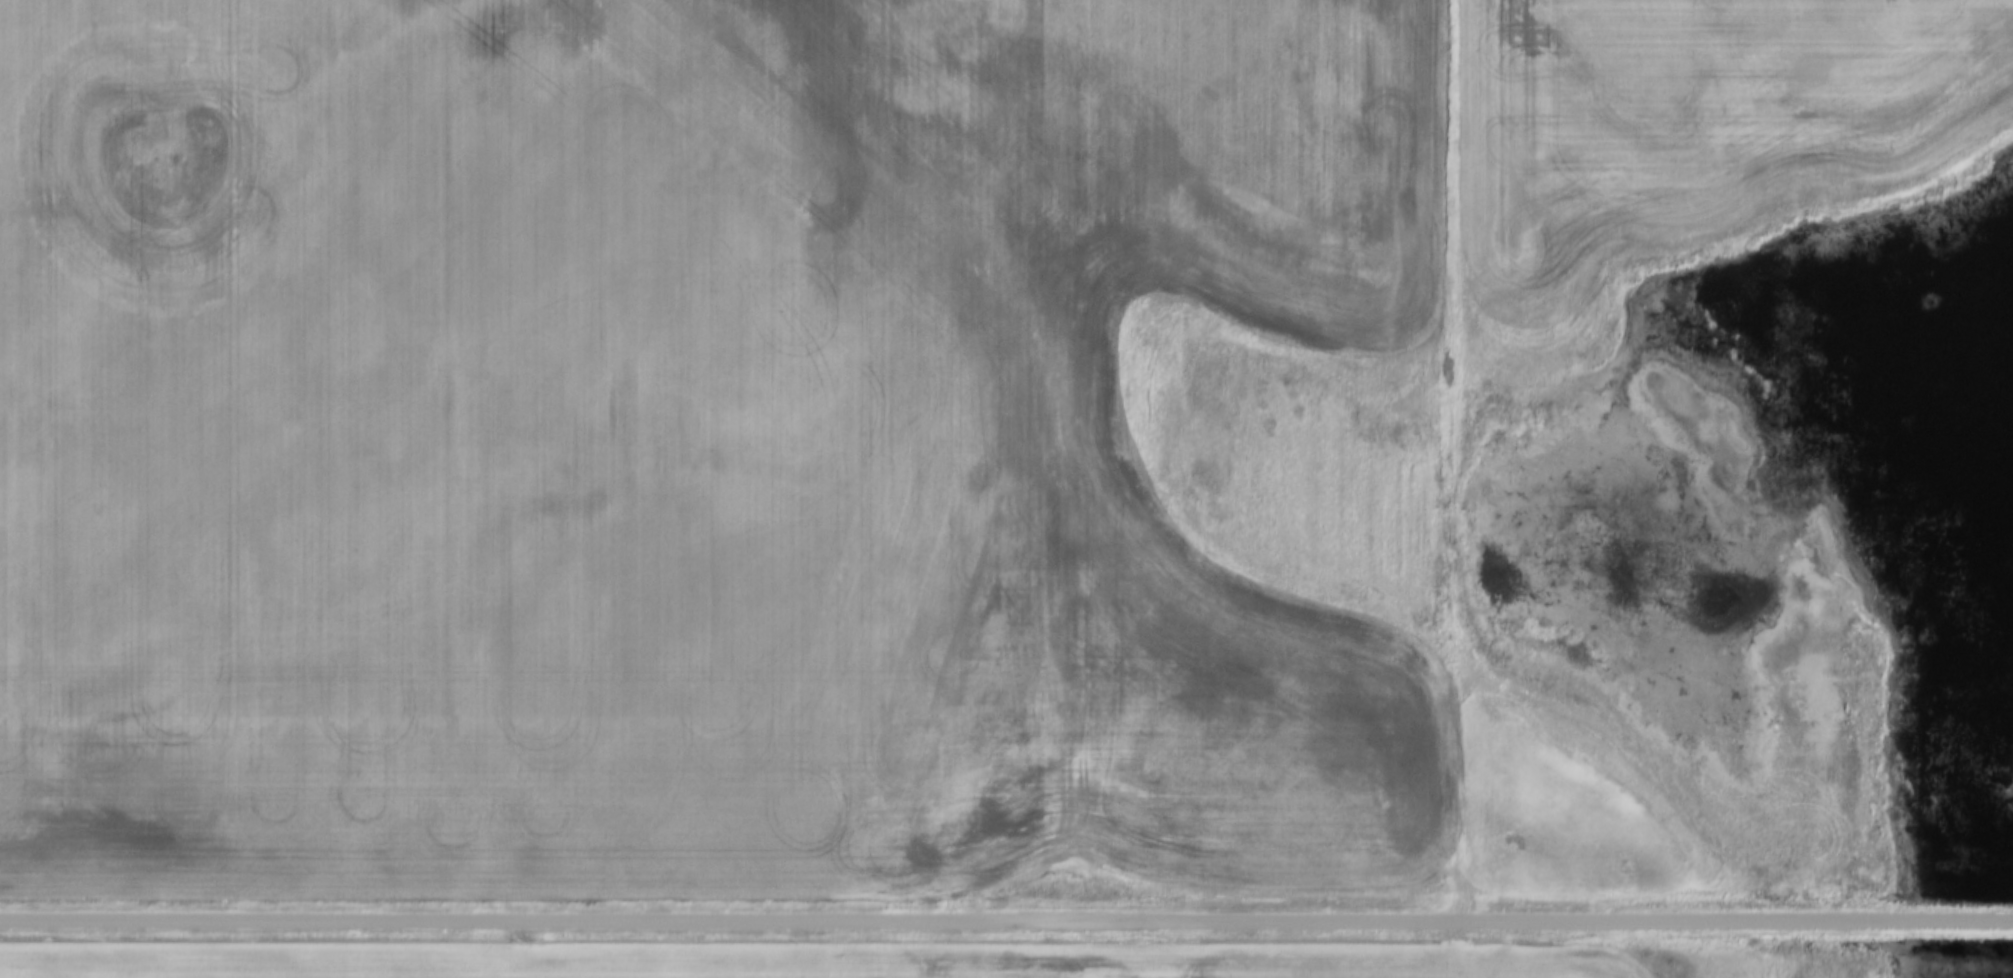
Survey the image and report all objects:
road: (1485, 772)
road: (1006, 922)

